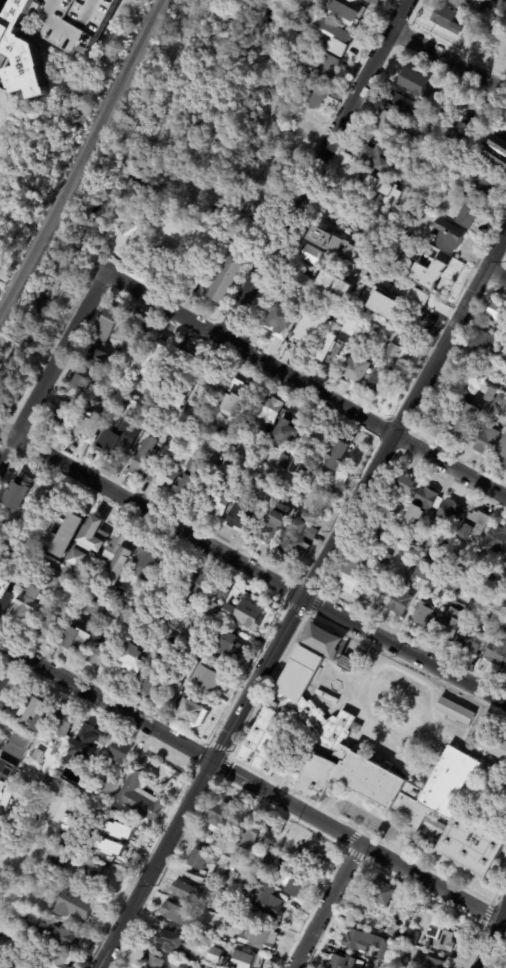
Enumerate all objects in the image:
building: (347, 1)
building: (374, 2)
building: (464, 3)
building: (500, 5)
building: (352, 16)
building: (445, 19)
building: (488, 32)
building: (52, 36)
building: (334, 37)
road: (449, 61)
building: (307, 67)
building: (325, 67)
building: (414, 84)
road: (209, 85)
building: (311, 93)
building: (400, 106)
building: (432, 119)
building: (397, 135)
building: (463, 138)
building: (490, 143)
railway: (82, 152)
building: (502, 157)
building: (378, 158)
road: (314, 168)
building: (484, 186)
building: (384, 191)
park: (94, 199)
building: (468, 217)
building: (124, 233)
building: (448, 237)
building: (334, 246)
building: (311, 256)
building: (158, 257)
power tower: (505, 261)
road: (495, 272)
building: (227, 280)
building: (430, 281)
building: (337, 285)
building: (383, 299)
building: (498, 312)
building: (286, 316)
building: (107, 324)
building: (492, 326)
building: (307, 329)
building: (145, 331)
road: (448, 331)
building: (371, 333)
building: (114, 336)
building: (481, 341)
building: (339, 345)
building: (396, 350)
building: (97, 358)
building: (155, 360)
road: (52, 368)
building: (355, 370)
road: (471, 370)
building: (180, 381)
building: (210, 382)
building: (75, 384)
building: (381, 384)
road: (305, 385)
building: (489, 394)
building: (236, 399)
building: (500, 401)
building: (266, 413)
building: (431, 415)
building: (62, 416)
building: (465, 422)
building: (88, 427)
building: (151, 429)
building: (288, 430)
power tower: (410, 430)
building: (134, 437)
building: (320, 437)
building: (485, 439)
building: (122, 452)
building: (502, 454)
building: (142, 458)
building: (335, 461)
building: (281, 462)
building: (212, 463)
building: (300, 466)
building: (187, 478)
building: (165, 479)
building: (404, 484)
building: (22, 485)
building: (259, 488)
building: (218, 494)
building: (286, 496)
building: (43, 501)
building: (421, 506)
building: (241, 512)
building: (449, 513)
building: (274, 523)
building: (378, 527)
building: (473, 527)
building: (64, 535)
building: (92, 535)
building: (297, 538)
building: (495, 540)
building: (411, 546)
building: (442, 547)
building: (117, 556)
building: (76, 558)
building: (385, 560)
building: (146, 561)
building: (447, 562)
building: (360, 567)
building: (459, 569)
building: (425, 570)
road: (258, 573)
building: (483, 579)
building: (500, 581)
building: (172, 582)
building: (465, 582)
building: (449, 583)
power tower: (323, 588)
building: (121, 590)
building: (197, 590)
building: (5, 593)
building: (475, 593)
building: (225, 594)
building: (379, 594)
building: (400, 603)
building: (28, 605)
road: (129, 606)
building: (215, 607)
building: (96, 609)
building: (113, 614)
building: (241, 615)
building: (423, 615)
building: (1, 618)
building: (174, 618)
building: (450, 623)
building: (494, 625)
building: (51, 627)
building: (431, 627)
building: (76, 638)
building: (473, 638)
building: (321, 640)
building: (166, 648)
building: (236, 648)
building: (497, 652)
building: (101, 655)
building: (131, 662)
building: (346, 664)
road: (8, 667)
building: (207, 679)
building: (154, 688)
road: (245, 700)
road: (105, 701)
building: (455, 708)
road: (93, 713)
building: (193, 713)
building: (35, 715)
building: (62, 723)
building: (87, 741)
building: (489, 745)
power tower: (232, 751)
building: (118, 752)
building: (14, 753)
building: (37, 755)
building: (363, 766)
building: (65, 767)
building: (109, 787)
building: (5, 793)
building: (504, 793)
building: (31, 795)
building: (139, 798)
building: (219, 818)
building: (28, 819)
road: (363, 819)
building: (119, 830)
building: (247, 835)
building: (113, 837)
road: (354, 841)
building: (110, 847)
building: (219, 847)
building: (269, 855)
building: (204, 859)
road: (24, 860)
building: (56, 862)
building: (232, 867)
building: (262, 869)
building: (97, 873)
power tower: (156, 885)
building: (296, 886)
building: (188, 891)
building: (378, 893)
building: (270, 899)
building: (76, 905)
road: (326, 906)
building: (439, 909)
building: (181, 914)
building: (237, 924)
building: (210, 928)
building: (393, 930)
building: (62, 934)
building: (439, 935)
building: (411, 936)
road: (491, 936)
building: (260, 938)
building: (357, 941)
building: (174, 942)
building: (11, 946)
building: (401, 949)
building: (219, 956)
building: (141, 958)
building: (249, 959)
building: (56, 961)
building: (154, 962)
building: (341, 962)
building: (425, 962)
building: (184, 965)
building: (205, 967)

